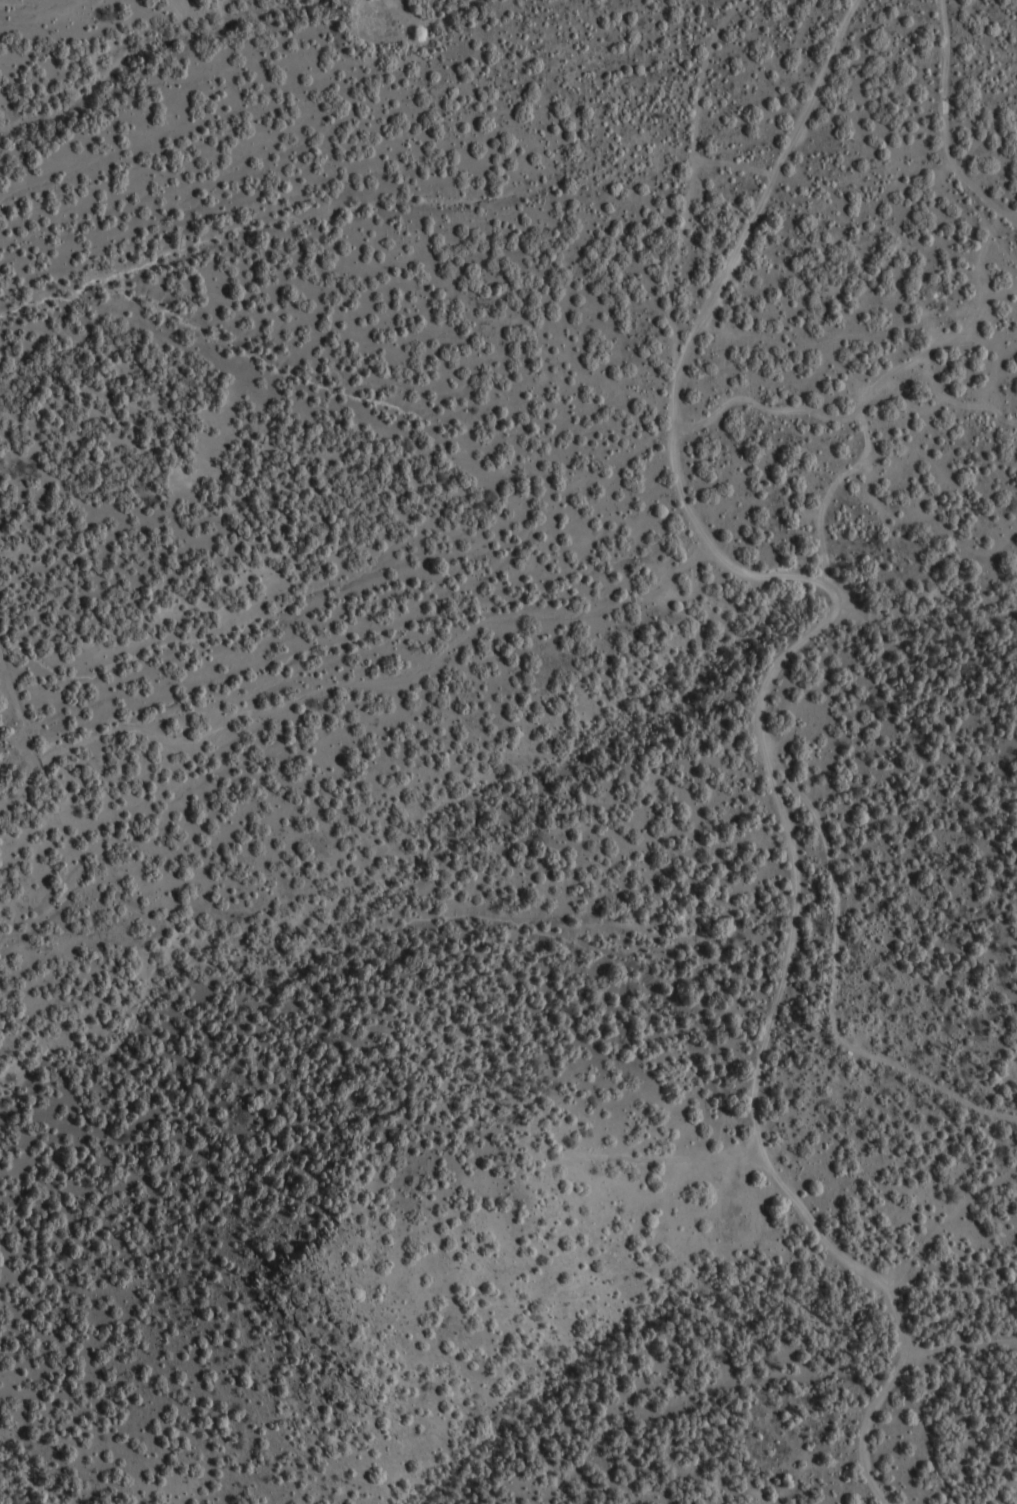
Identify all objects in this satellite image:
road: (951, 127)
road: (755, 711)
road: (961, 1349)

